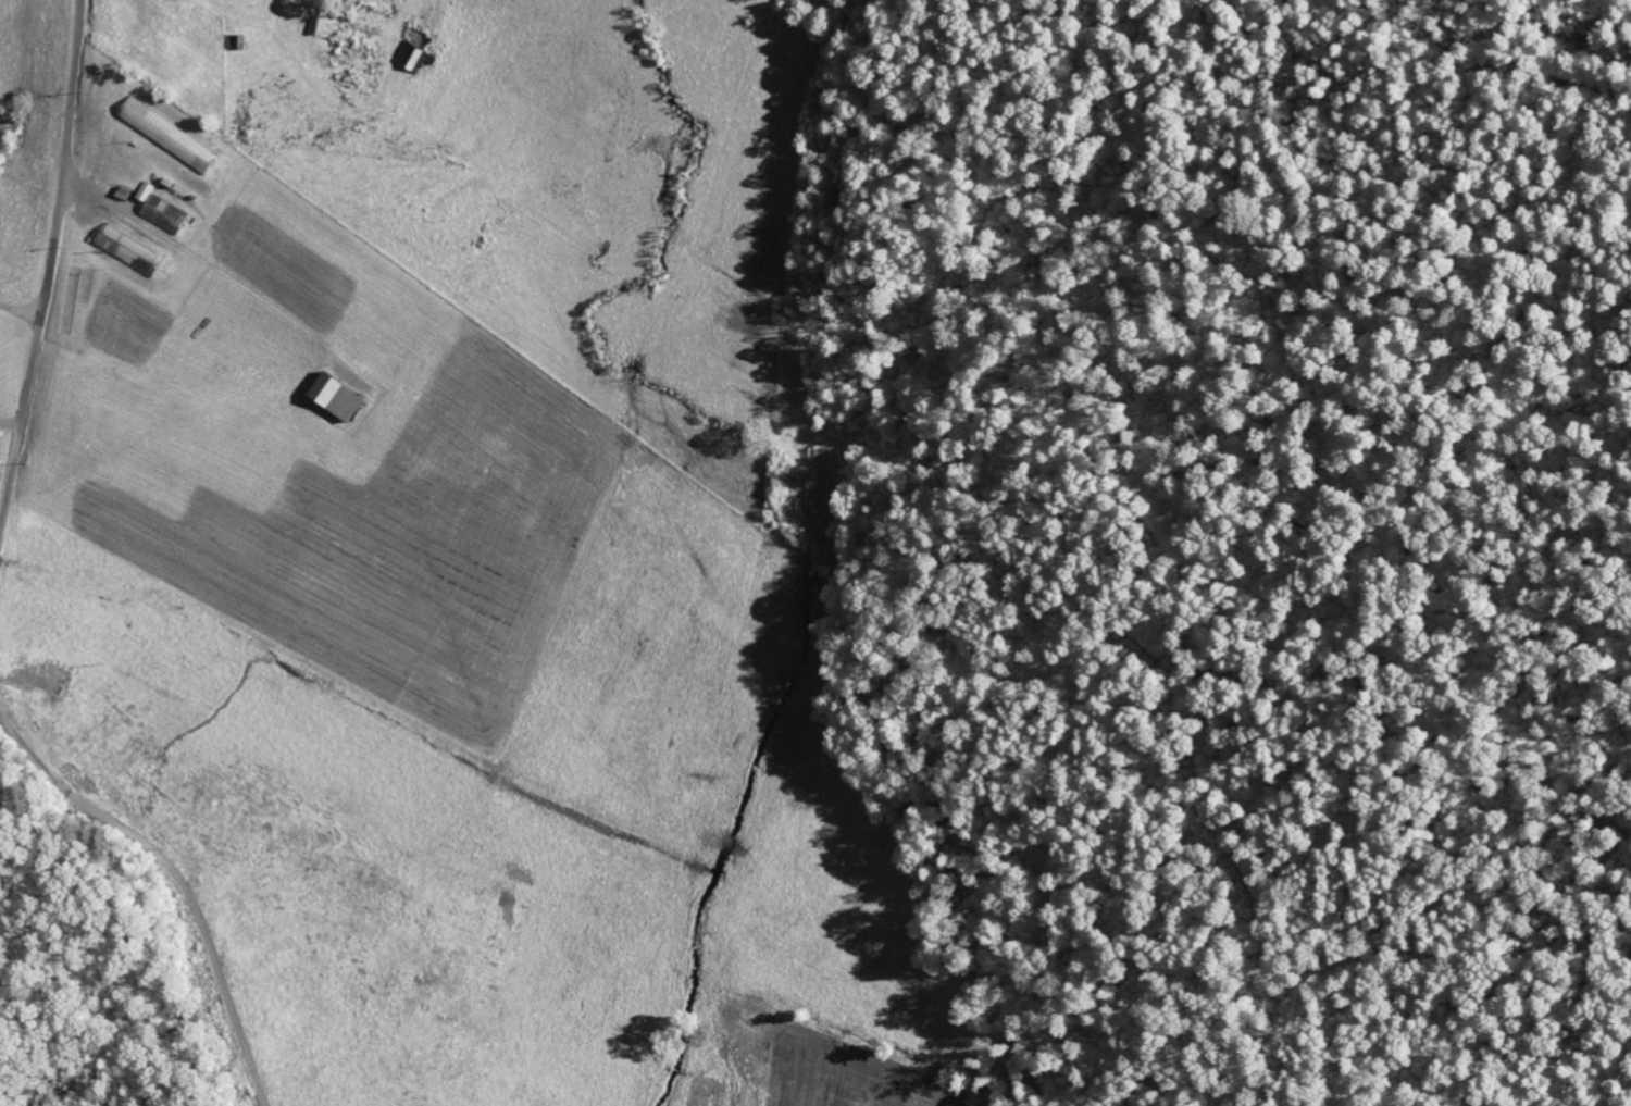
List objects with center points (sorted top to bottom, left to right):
road: (274, 17)
building: (415, 60)
building: (171, 136)
building: (161, 212)
building: (129, 251)
road: (49, 265)
building: (338, 399)
road: (183, 874)

